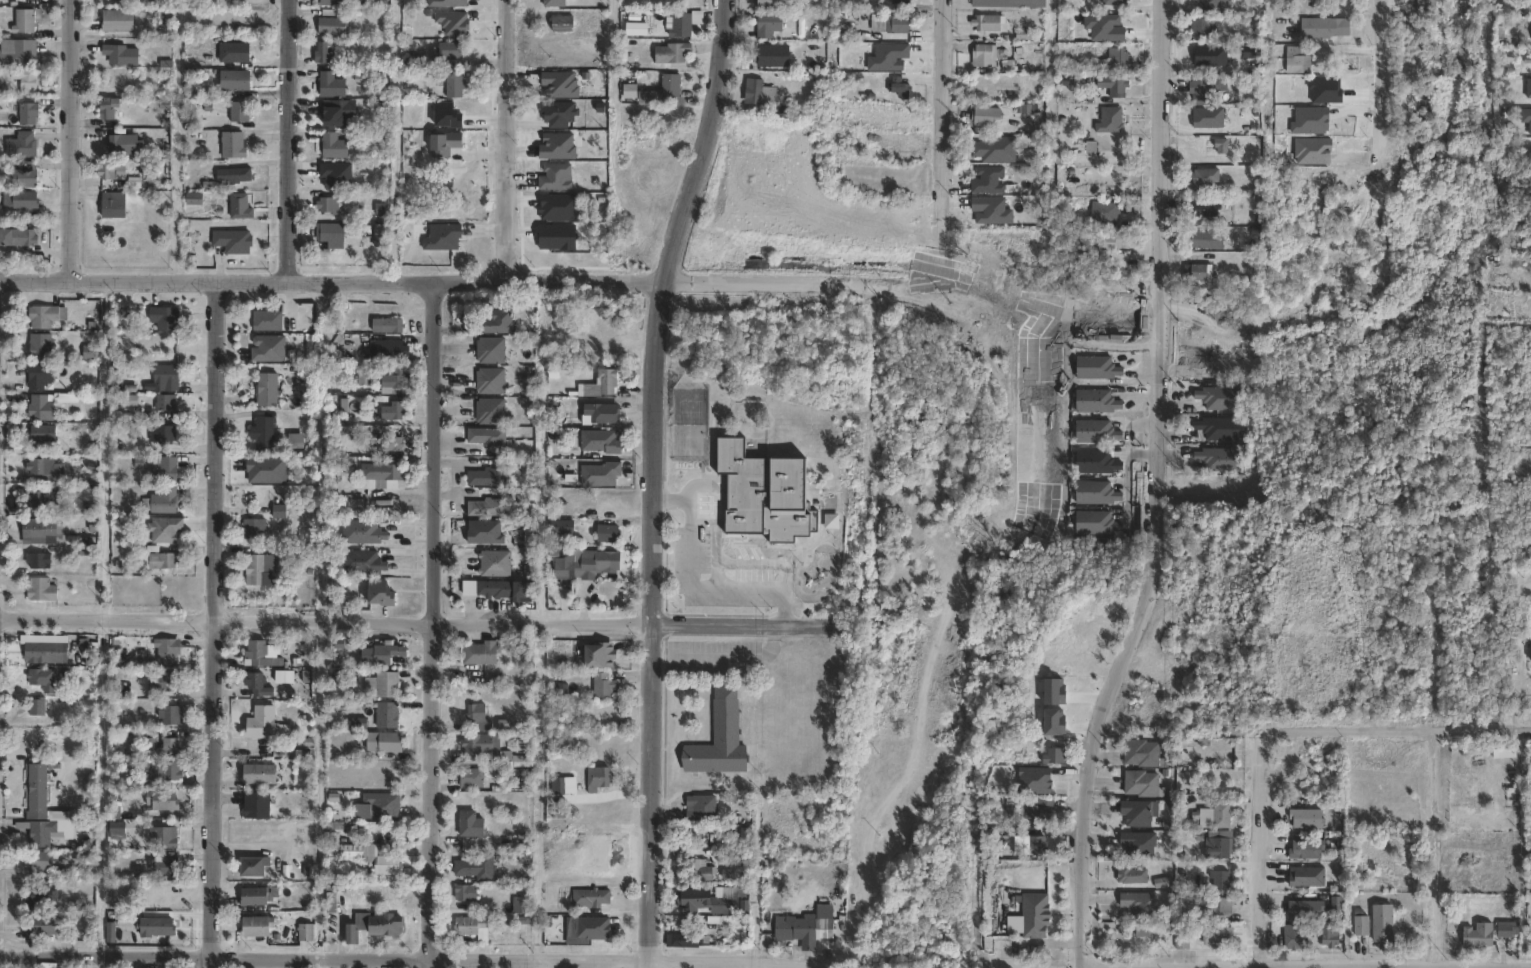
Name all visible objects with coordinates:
building: (123, 0)
building: (1117, 2)
building: (332, 3)
building: (899, 3)
building: (448, 4)
building: (554, 4)
building: (773, 4)
building: (1008, 4)
building: (1212, 5)
building: (1427, 6)
building: (1527, 7)
building: (23, 22)
building: (116, 22)
building: (989, 23)
building: (454, 25)
building: (563, 25)
building: (679, 25)
building: (768, 25)
building: (899, 25)
building: (330, 27)
building: (1201, 28)
building: (1325, 29)
building: (449, 52)
building: (234, 53)
building: (18, 54)
building: (672, 54)
building: (323, 55)
building: (120, 56)
building: (773, 56)
building: (991, 57)
building: (1118, 57)
building: (1298, 61)
building: (412, 64)
building: (25, 80)
building: (1068, 80)
road: (1381, 80)
building: (235, 81)
building: (330, 86)
building: (1119, 86)
building: (454, 87)
building: (670, 87)
building: (899, 88)
building: (1200, 89)
building: (630, 92)
building: (754, 96)
building: (107, 109)
building: (239, 113)
building: (338, 113)
building: (27, 114)
building: (989, 114)
road: (942, 115)
building: (1111, 122)
road: (71, 140)
road: (290, 140)
road: (510, 141)
building: (125, 145)
building: (444, 145)
building: (21, 146)
building: (234, 146)
building: (334, 147)
building: (1222, 147)
building: (995, 150)
building: (108, 173)
building: (556, 176)
building: (22, 177)
building: (234, 177)
building: (1206, 177)
building: (988, 181)
building: (194, 200)
building: (20, 201)
building: (329, 204)
building: (113, 205)
building: (242, 207)
building: (1206, 209)
building: (1105, 212)
building: (333, 234)
building: (380, 235)
building: (444, 237)
building: (24, 238)
building: (6, 239)
building: (1208, 239)
building: (1110, 241)
building: (233, 243)
building: (1202, 272)
road: (444, 282)
building: (43, 316)
building: (165, 317)
building: (268, 320)
building: (502, 322)
building: (388, 325)
building: (40, 346)
building: (270, 349)
building: (391, 350)
building: (491, 350)
building: (90, 352)
building: (1098, 367)
building: (40, 375)
building: (165, 378)
building: (365, 379)
building: (491, 381)
building: (609, 381)
building: (393, 383)
building: (268, 390)
building: (66, 397)
building: (1221, 398)
building: (1097, 401)
building: (166, 402)
building: (41, 408)
building: (393, 411)
building: (491, 411)
building: (603, 413)
building: (1221, 428)
building: (1097, 432)
building: (264, 434)
building: (41, 435)
building: (166, 435)
building: (488, 436)
building: (601, 441)
building: (392, 444)
road: (105, 450)
park: (769, 454)
building: (1220, 459)
building: (1097, 462)
building: (40, 470)
building: (165, 471)
building: (601, 474)
building: (390, 475)
building: (488, 477)
road: (654, 479)
road: (1157, 490)
building: (1097, 492)
building: (764, 493)
building: (162, 501)
building: (40, 502)
building: (487, 507)
building: (278, 510)
building: (1097, 524)
building: (166, 529)
building: (255, 529)
building: (39, 531)
building: (363, 532)
building: (609, 533)
road: (715, 556)
building: (159, 559)
building: (36, 560)
building: (364, 563)
building: (496, 564)
building: (590, 565)
building: (257, 571)
road: (716, 574)
road: (694, 587)
building: (471, 588)
building: (503, 589)
building: (42, 590)
building: (380, 592)
road: (414, 621)
road: (210, 624)
road: (430, 624)
building: (168, 651)
building: (40, 652)
building: (483, 653)
building: (256, 654)
building: (381, 655)
building: (604, 656)
building: (92, 657)
building: (284, 676)
building: (43, 679)
building: (164, 682)
building: (255, 683)
building: (383, 685)
building: (604, 686)
building: (37, 707)
building: (172, 716)
building: (387, 716)
building: (479, 717)
building: (265, 725)
road: (1346, 726)
road: (1481, 727)
building: (385, 742)
building: (720, 744)
building: (480, 746)
building: (171, 748)
building: (1143, 753)
building: (514, 756)
building: (1057, 756)
building: (168, 774)
building: (262, 774)
building: (1211, 776)
building: (472, 778)
building: (599, 779)
building: (1143, 784)
building: (38, 789)
road: (319, 790)
building: (163, 801)
building: (1042, 801)
building: (257, 805)
building: (384, 806)
building: (702, 806)
building: (1037, 814)
building: (1139, 814)
building: (1224, 815)
building: (1310, 819)
building: (468, 824)
building: (117, 828)
building: (38, 833)
building: (165, 838)
building: (1001, 841)
building: (1034, 842)
building: (1140, 844)
building: (1221, 845)
road: (1432, 847)
road: (1262, 849)
building: (1310, 850)
building: (39, 862)
building: (382, 862)
building: (167, 865)
building: (253, 867)
building: (477, 868)
building: (699, 871)
building: (1133, 875)
building: (1309, 877)
building: (1222, 880)
building: (467, 894)
building: (40, 897)
building: (259, 897)
building: (592, 898)
building: (717, 901)
building: (332, 903)
building: (1142, 905)
building: (523, 906)
building: (1216, 907)
building: (1308, 911)
building: (1037, 916)
building: (374, 926)
building: (1363, 926)
building: (1385, 926)
building: (257, 927)
building: (40, 928)
building: (157, 928)
building: (473, 928)
building: (808, 928)
building: (1143, 930)
building: (1507, 931)
building: (306, 933)
building: (1218, 934)
building: (701, 935)
building: (1481, 936)
building: (1332, 937)
building: (1183, 938)
building: (1296, 940)
road: (406, 960)
road: (1391, 967)

